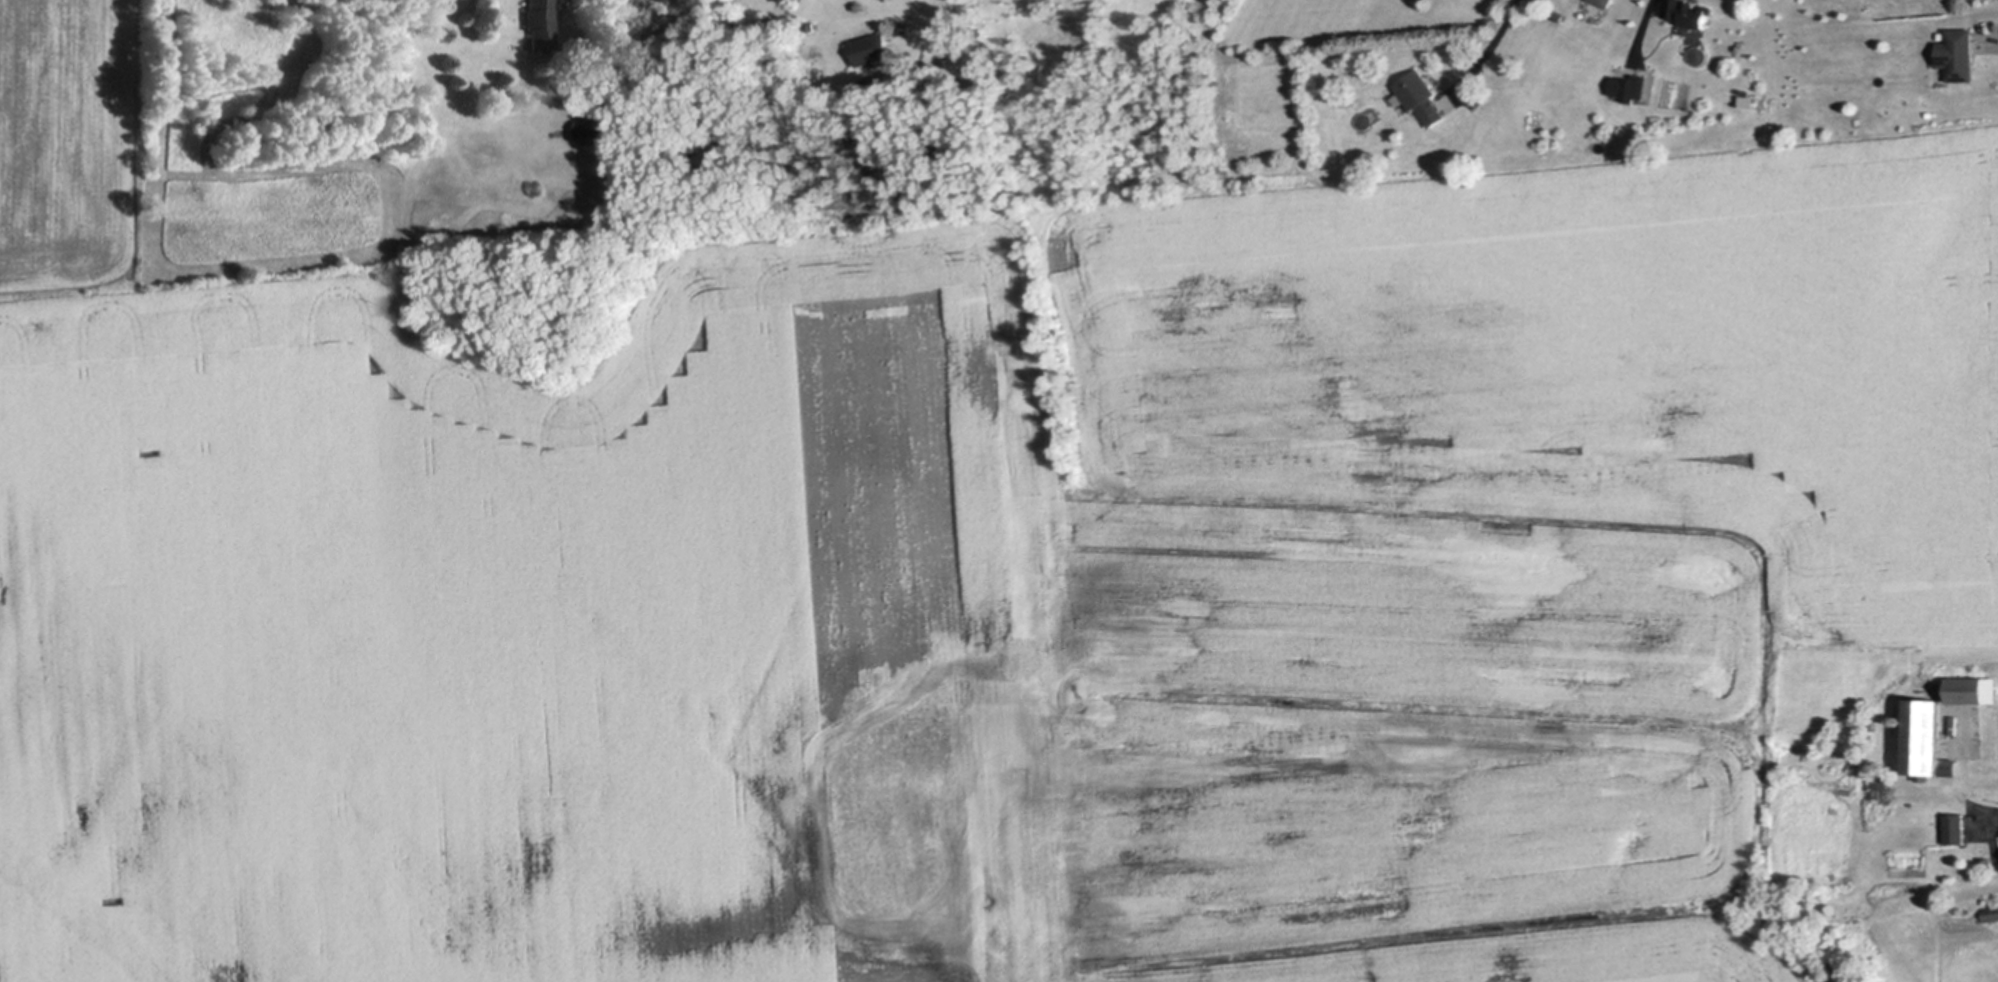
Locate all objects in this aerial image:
building: (786, 1)
building: (1606, 3)
building: (1691, 13)
building: (1560, 14)
building: (540, 24)
road: (1493, 38)
road: (1987, 47)
building: (874, 49)
building: (827, 53)
building: (1959, 55)
building: (870, 83)
building: (1635, 87)
building: (1421, 98)
building: (1744, 100)
building: (596, 132)
crop: (964, 570)
building: (1967, 688)
building: (1901, 719)
building: (1927, 735)
building: (1883, 793)
road: (1988, 821)
building: (1906, 824)
building: (1956, 828)
building: (1989, 863)
building: (1992, 913)

